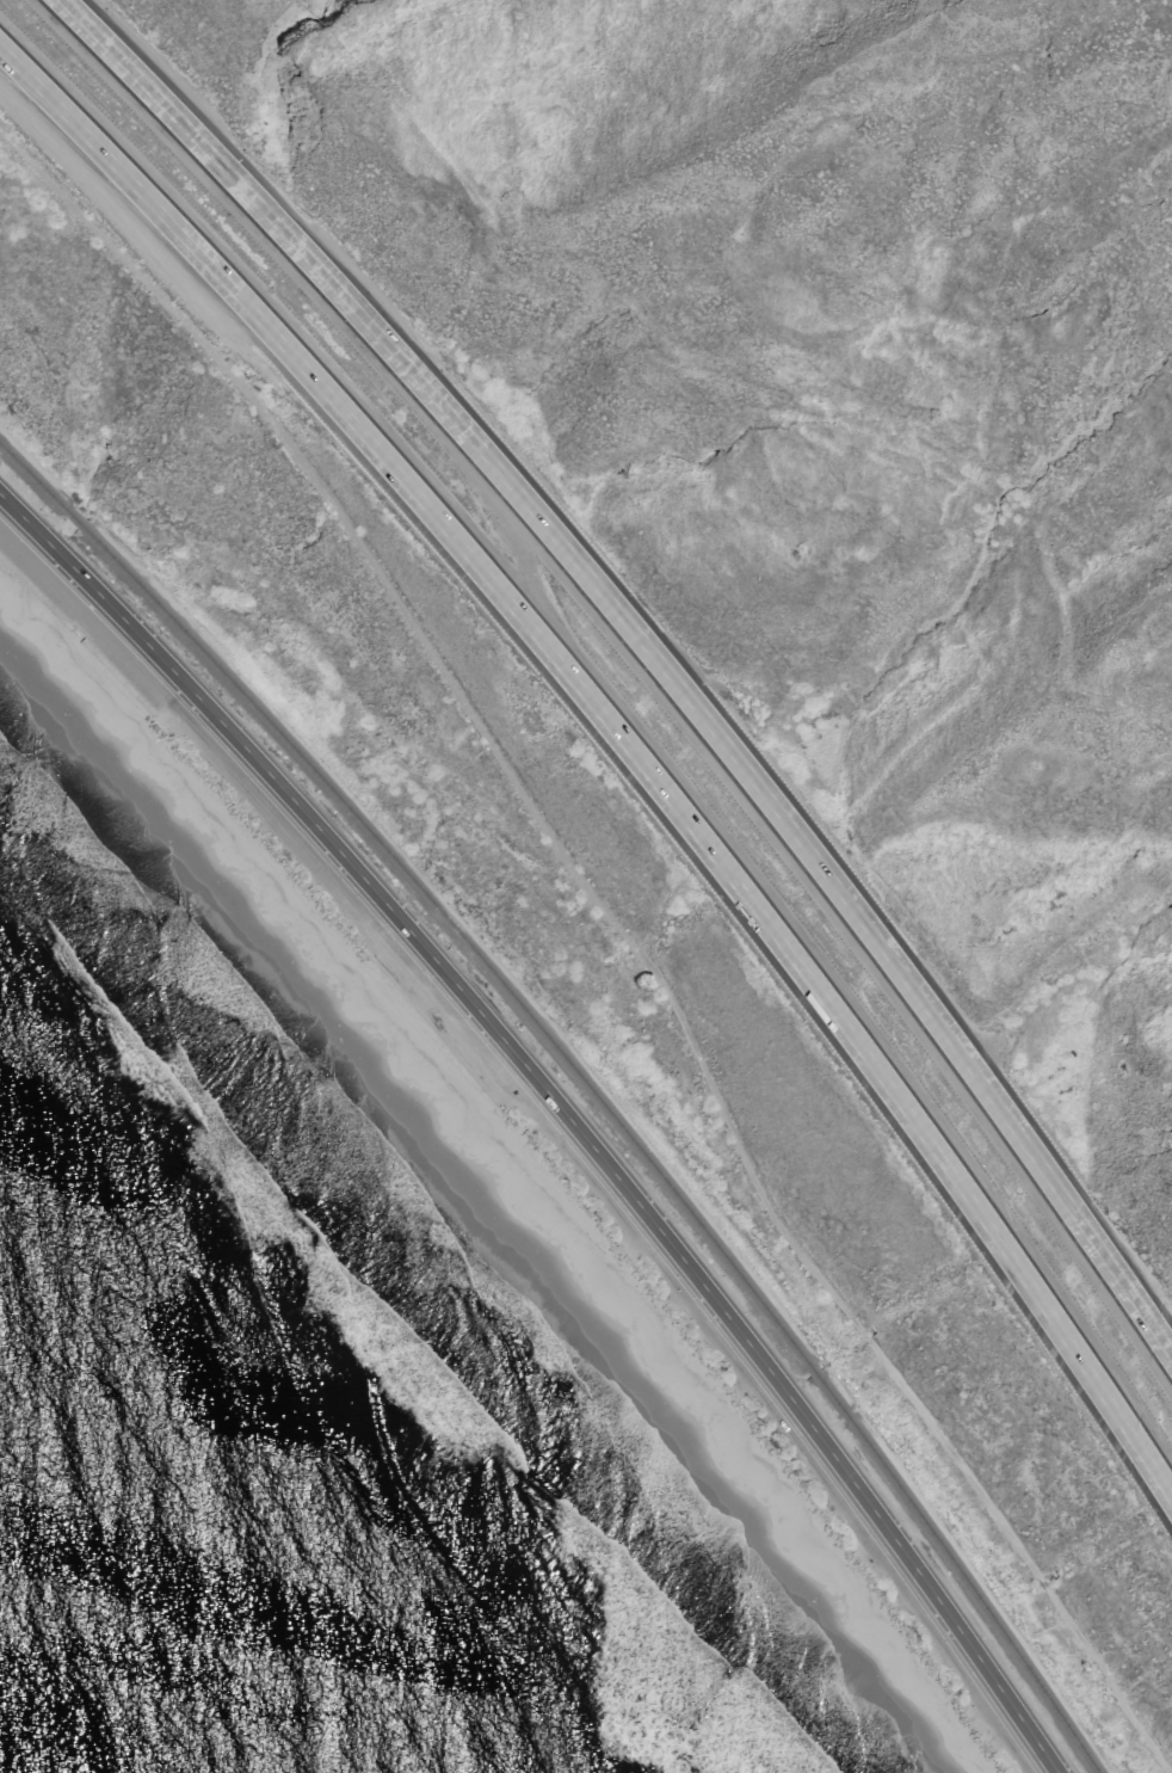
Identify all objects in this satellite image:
road: (790, 387)
railway: (33, 478)
railway: (73, 517)
road: (20, 521)
road: (45, 546)
road: (650, 647)
road: (625, 740)
road: (619, 928)
railway: (618, 1125)
road: (584, 1135)

